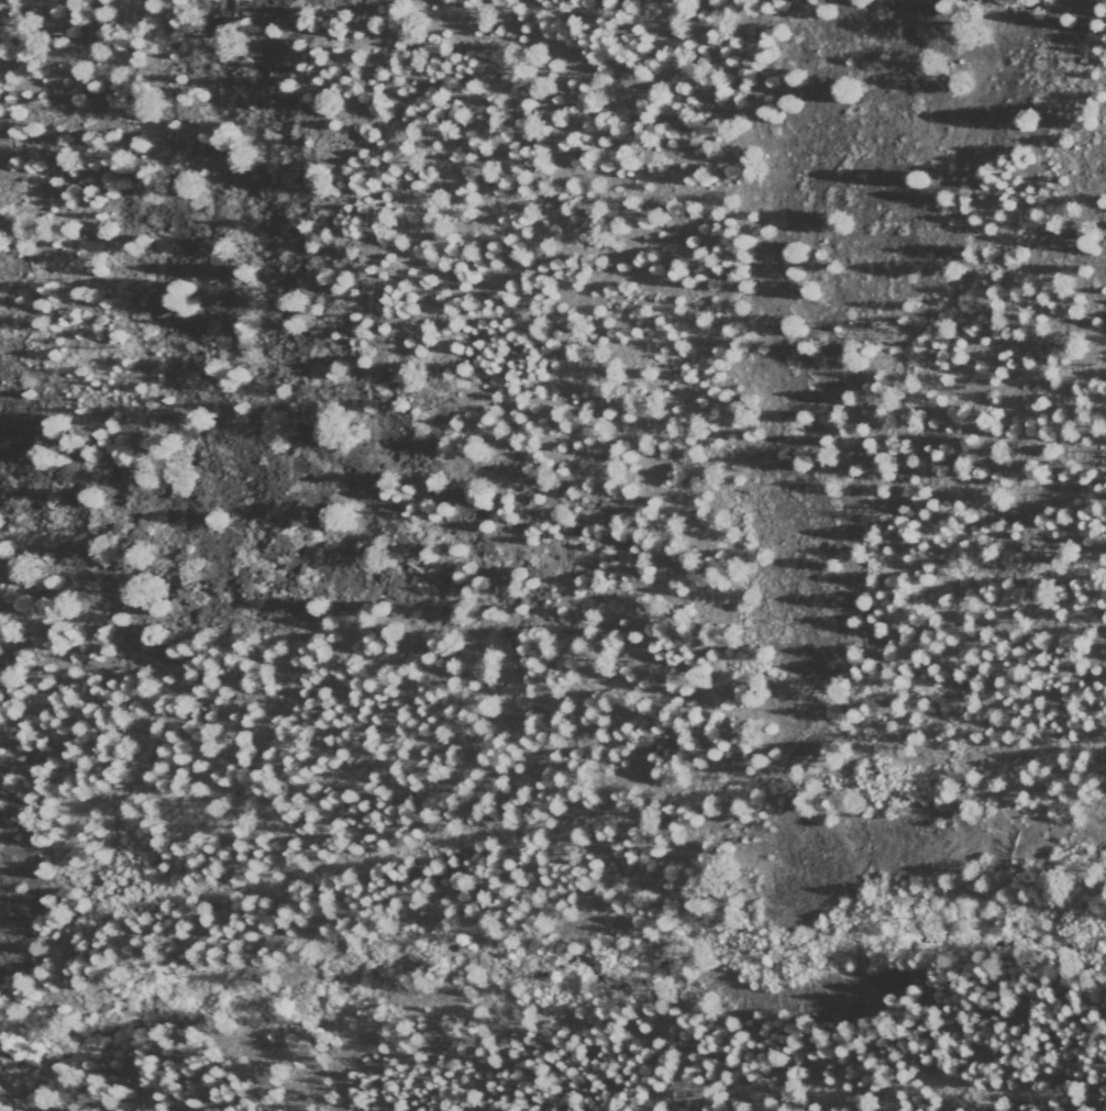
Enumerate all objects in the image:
road: (585, 1023)

